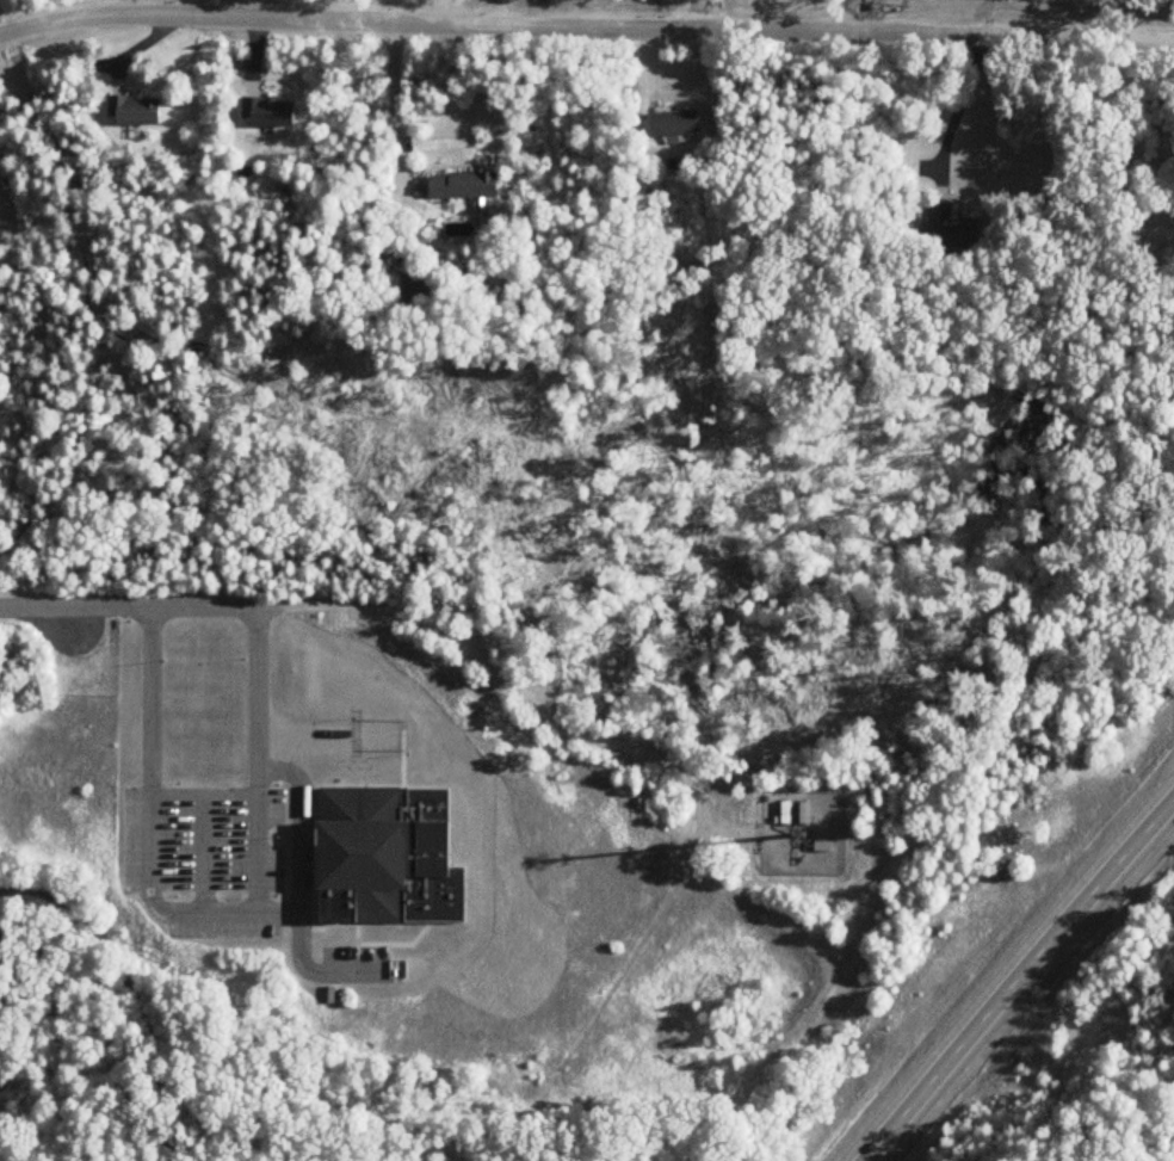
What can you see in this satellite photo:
road: (496, 13)
road: (586, 27)
road: (396, 104)
road: (959, 107)
building: (136, 111)
building: (271, 112)
building: (678, 124)
building: (465, 186)
building: (956, 229)
building: (418, 294)
road: (418, 622)
road: (328, 730)
building: (807, 813)
building: (787, 814)
building: (391, 852)
road: (297, 870)
road: (205, 909)
road: (301, 955)
road: (1024, 984)
road: (126, 990)

